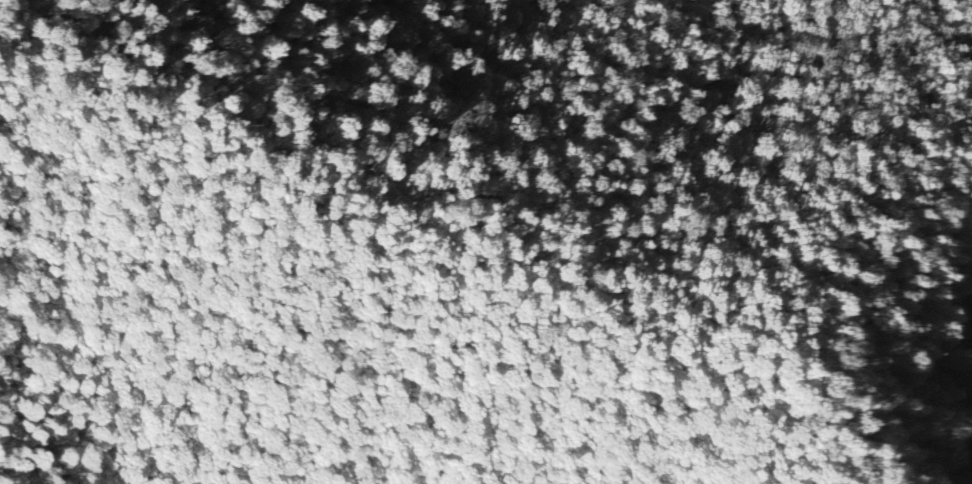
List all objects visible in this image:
road: (556, 367)

